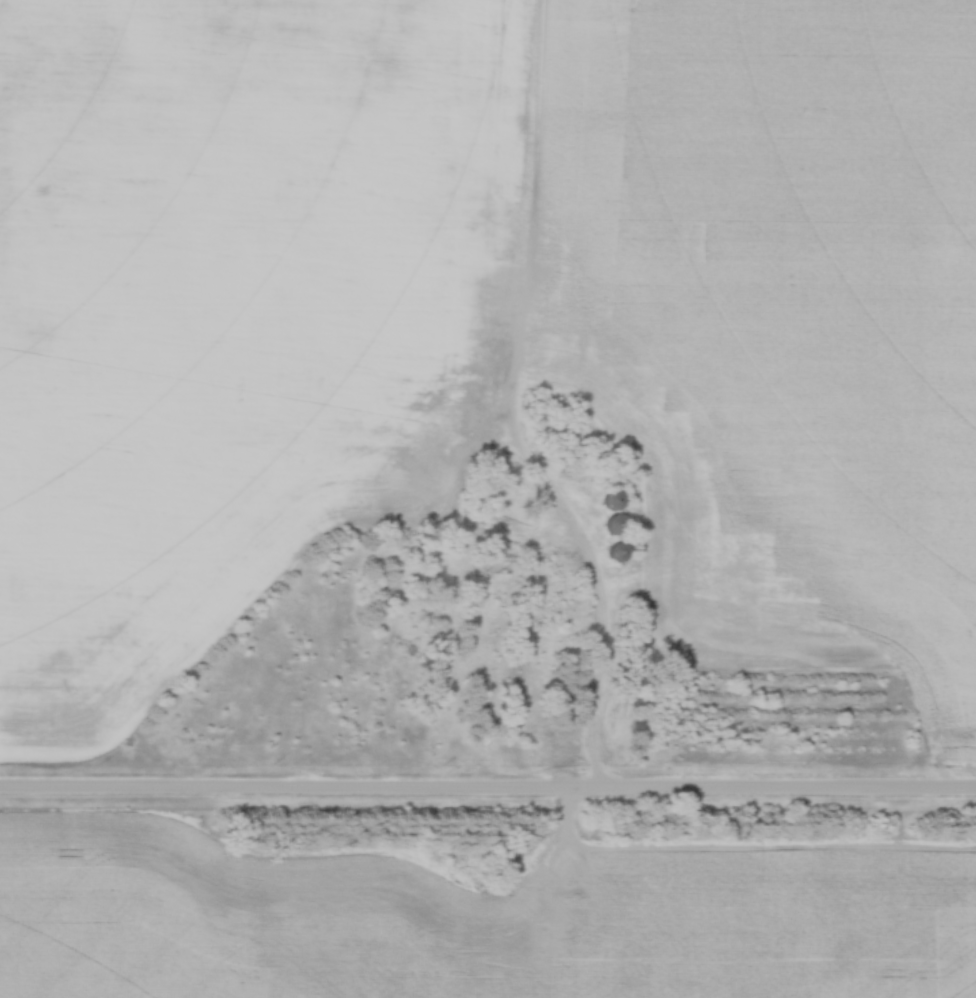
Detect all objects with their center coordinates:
building: (610, 501)
building: (611, 526)
building: (614, 554)
road: (488, 793)

